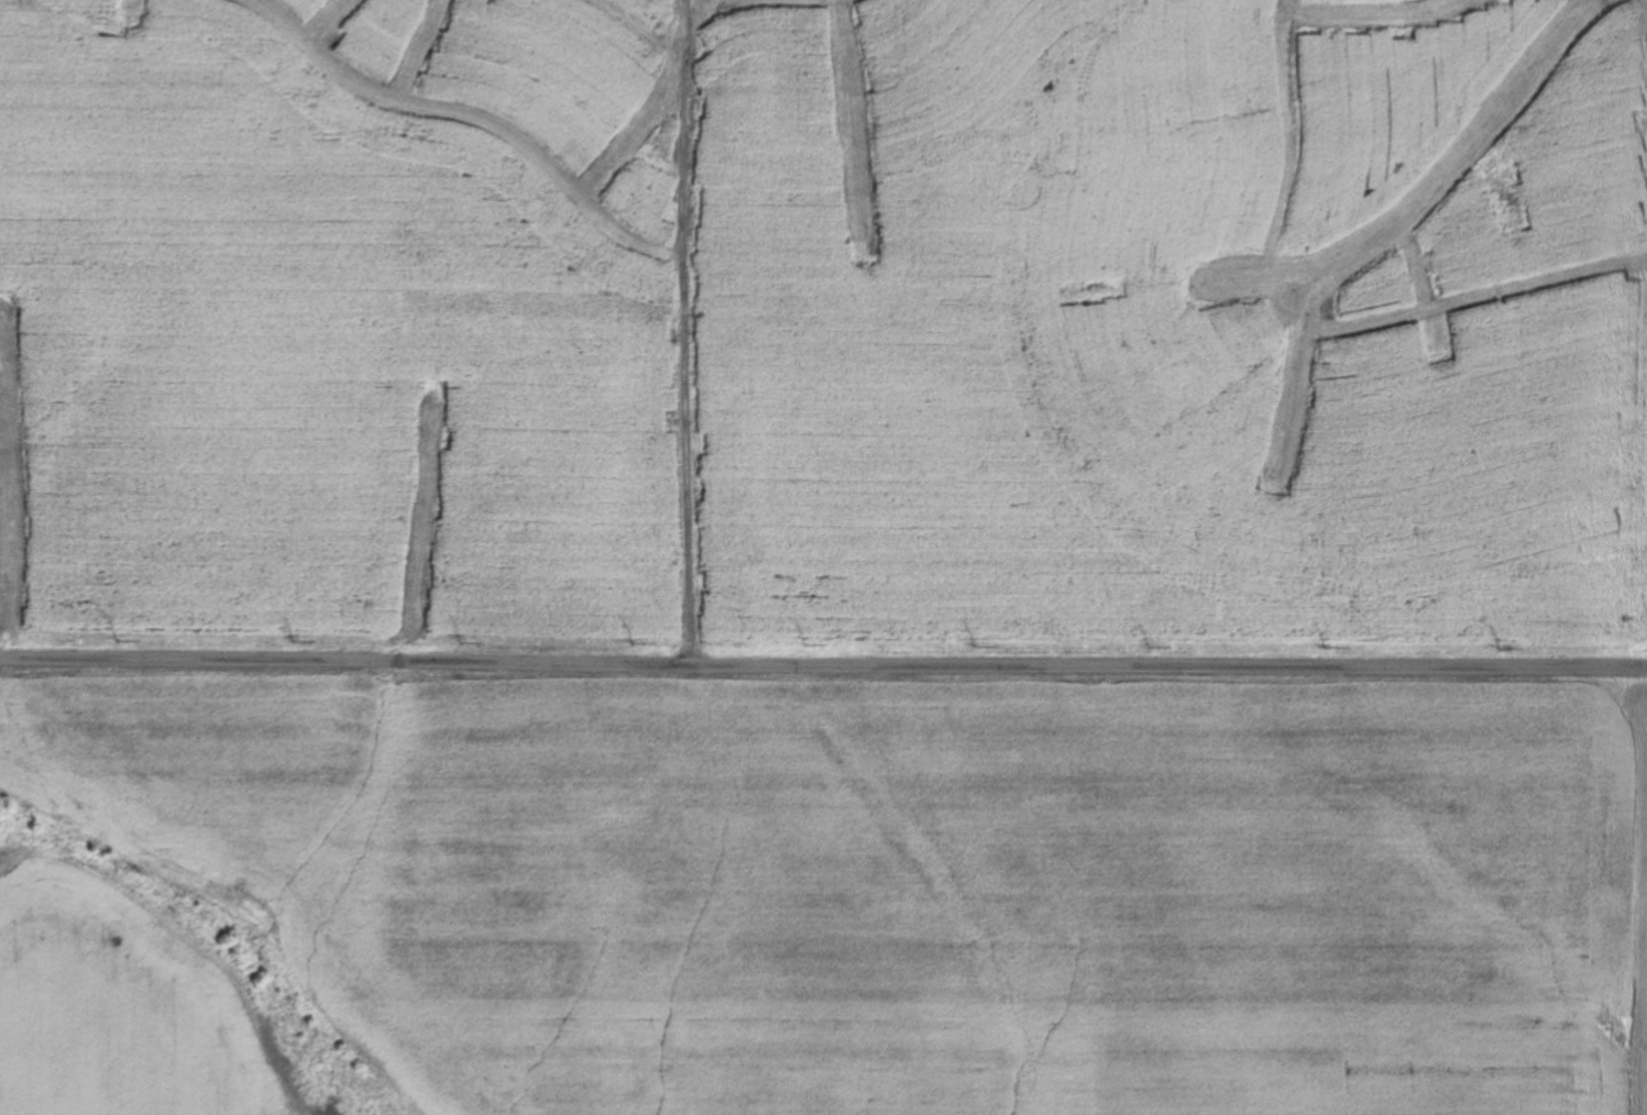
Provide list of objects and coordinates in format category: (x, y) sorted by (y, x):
road: (699, 332)
road: (823, 664)

